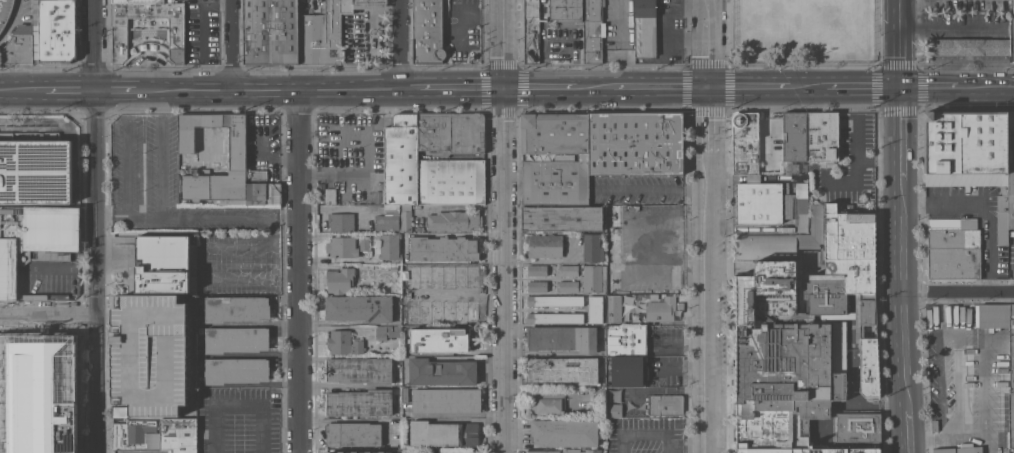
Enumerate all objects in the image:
building: (135, 1)
building: (566, 10)
building: (5, 12)
park: (793, 21)
road: (203, 23)
road: (948, 26)
building: (644, 28)
building: (1013, 28)
building: (53, 30)
building: (326, 30)
building: (271, 31)
building: (427, 31)
parking lot: (462, 31)
building: (531, 31)
building: (592, 31)
park: (805, 31)
building: (119, 37)
road: (402, 43)
road: (94, 45)
road: (233, 45)
building: (18, 46)
building: (968, 46)
road: (453, 86)
traffic signals: (504, 86)
road: (539, 86)
road: (594, 86)
road: (661, 86)
traffic signals: (709, 86)
road: (749, 86)
road: (808, 86)
road: (862, 86)
traffic signals: (898, 86)
road: (929, 86)
road: (987, 86)
road: (22, 89)
road: (70, 89)
road: (115, 90)
road: (269, 90)
road: (708, 94)
building: (451, 132)
building: (813, 135)
building: (745, 142)
building: (636, 143)
road: (858, 149)
building: (237, 156)
building: (973, 156)
building: (568, 157)
building: (401, 159)
road: (879, 162)
building: (34, 168)
road: (128, 173)
road: (155, 173)
building: (259, 174)
road: (353, 174)
building: (451, 181)
road: (653, 189)
building: (263, 193)
building: (330, 196)
building: (321, 199)
road: (945, 203)
building: (769, 204)
building: (391, 209)
parking lot: (188, 210)
road: (197, 216)
building: (406, 217)
building: (562, 218)
building: (453, 220)
building: (340, 222)
building: (386, 222)
road: (504, 226)
road: (901, 226)
building: (612, 233)
building: (34, 240)
building: (364, 244)
building: (544, 245)
building: (342, 246)
building: (389, 246)
building: (443, 248)
building: (592, 248)
building: (953, 248)
road: (988, 250)
building: (160, 263)
building: (393, 267)
building: (537, 270)
building: (568, 270)
road: (96, 271)
road: (299, 271)
building: (592, 278)
building: (339, 279)
building: (536, 286)
building: (568, 286)
road: (959, 291)
building: (554, 300)
building: (236, 308)
building: (359, 308)
building: (613, 308)
building: (595, 309)
building: (662, 309)
road: (48, 316)
building: (555, 318)
road: (706, 320)
building: (199, 329)
building: (801, 330)
building: (387, 331)
building: (562, 338)
building: (235, 339)
road: (118, 340)
road: (149, 340)
building: (439, 340)
parking lot: (153, 341)
road: (180, 341)
building: (344, 342)
building: (1011, 346)
building: (644, 355)
building: (563, 369)
building: (235, 370)
building: (359, 370)
building: (442, 372)
road: (329, 387)
building: (595, 393)
building: (404, 394)
building: (446, 400)
building: (359, 402)
building: (548, 404)
building: (665, 405)
road: (215, 408)
building: (614, 409)
road: (460, 416)
parking lot: (238, 420)
building: (1011, 422)
building: (858, 427)
building: (177, 428)
building: (564, 432)
building: (443, 433)
road: (639, 433)
building: (353, 434)
building: (135, 436)
building: (165, 443)
building: (183, 445)
road: (685, 446)
road: (665, 450)
building: (954, 450)
building: (430, 451)
building: (437, 451)
building: (545, 451)
building: (592, 451)
building: (354, 452)

